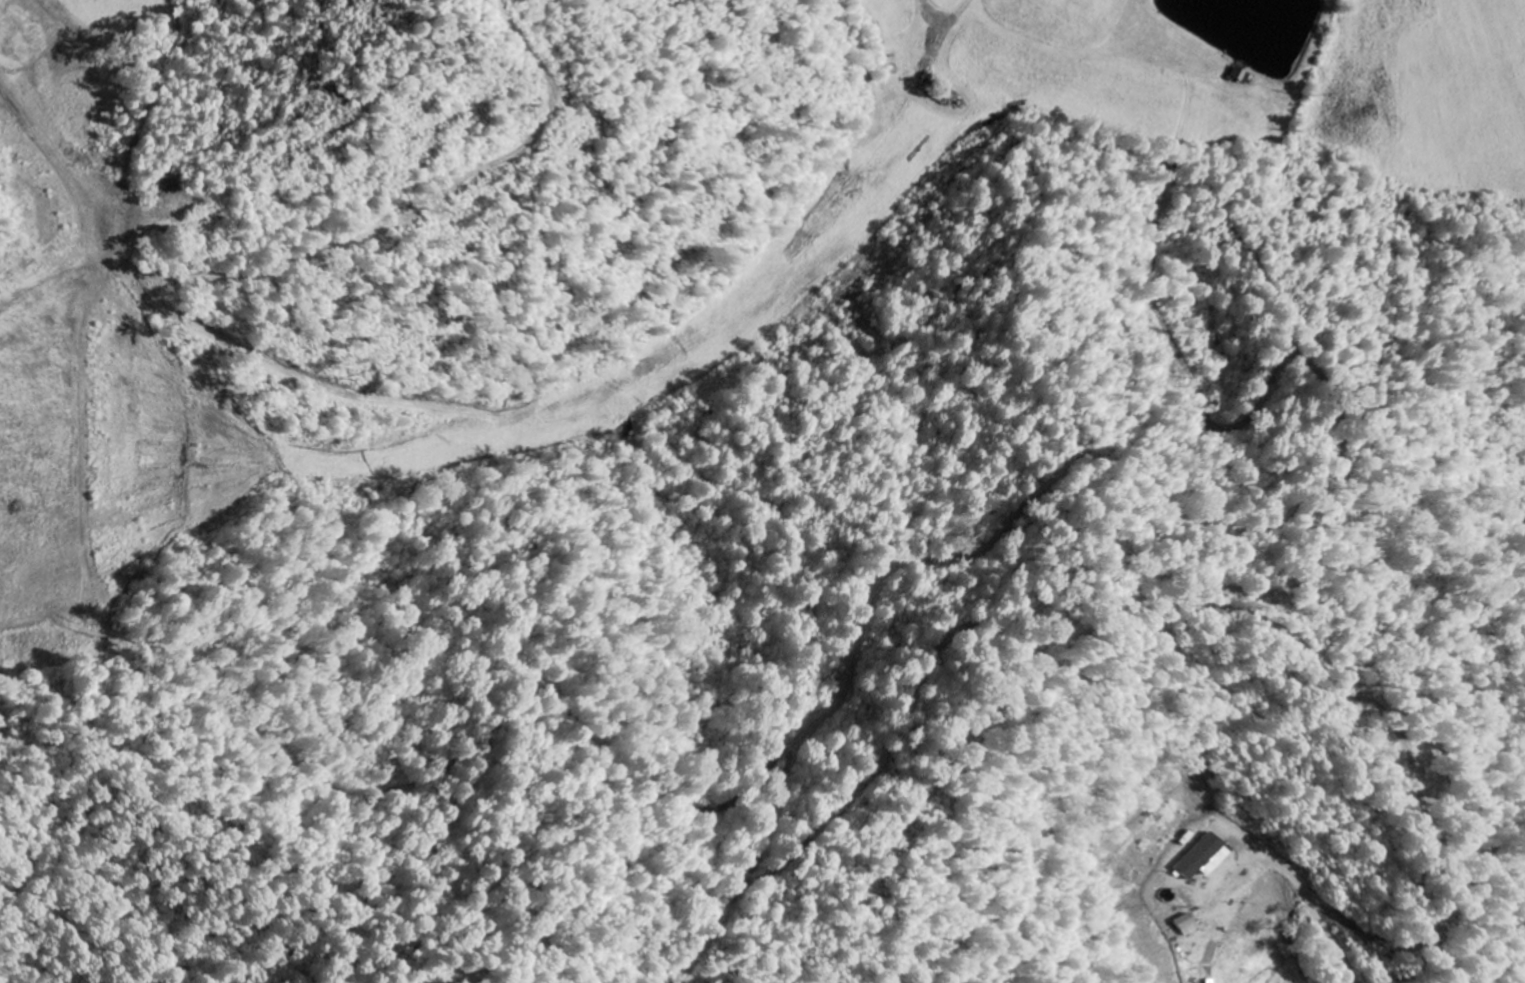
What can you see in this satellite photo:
road: (951, 24)
building: (1241, 74)
building: (1196, 857)
building: (1185, 925)

